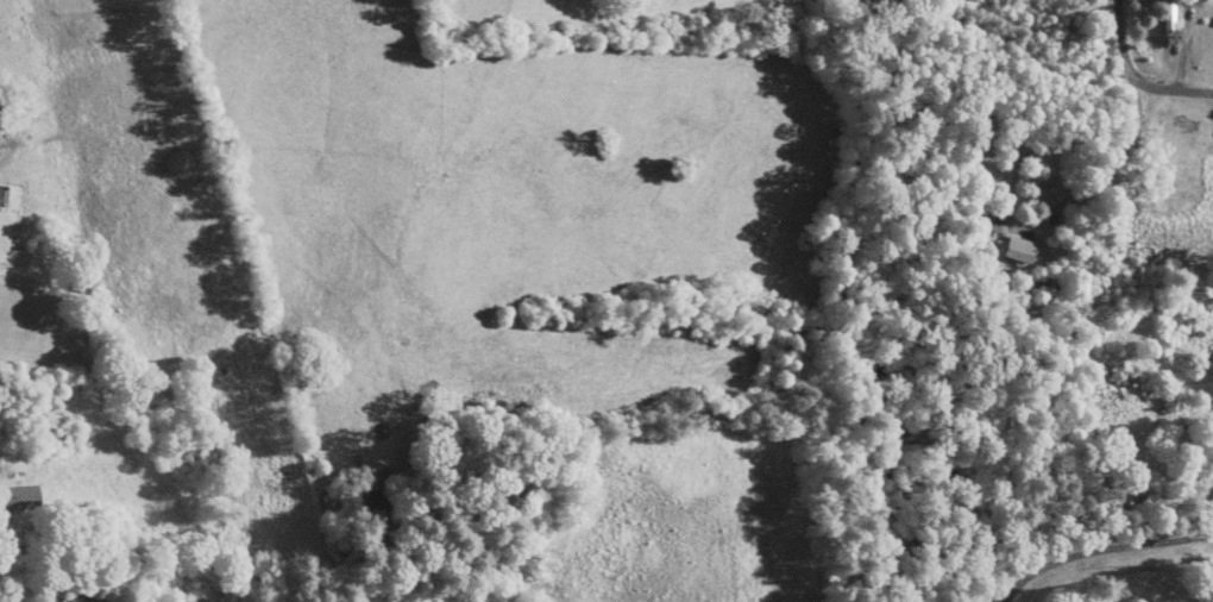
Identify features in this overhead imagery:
building: (1162, 17)
road: (1133, 79)
building: (0, 125)
building: (1003, 143)
building: (985, 224)
building: (1011, 252)
building: (1188, 490)
building: (26, 498)
road: (1102, 553)
building: (370, 596)
building: (98, 601)

